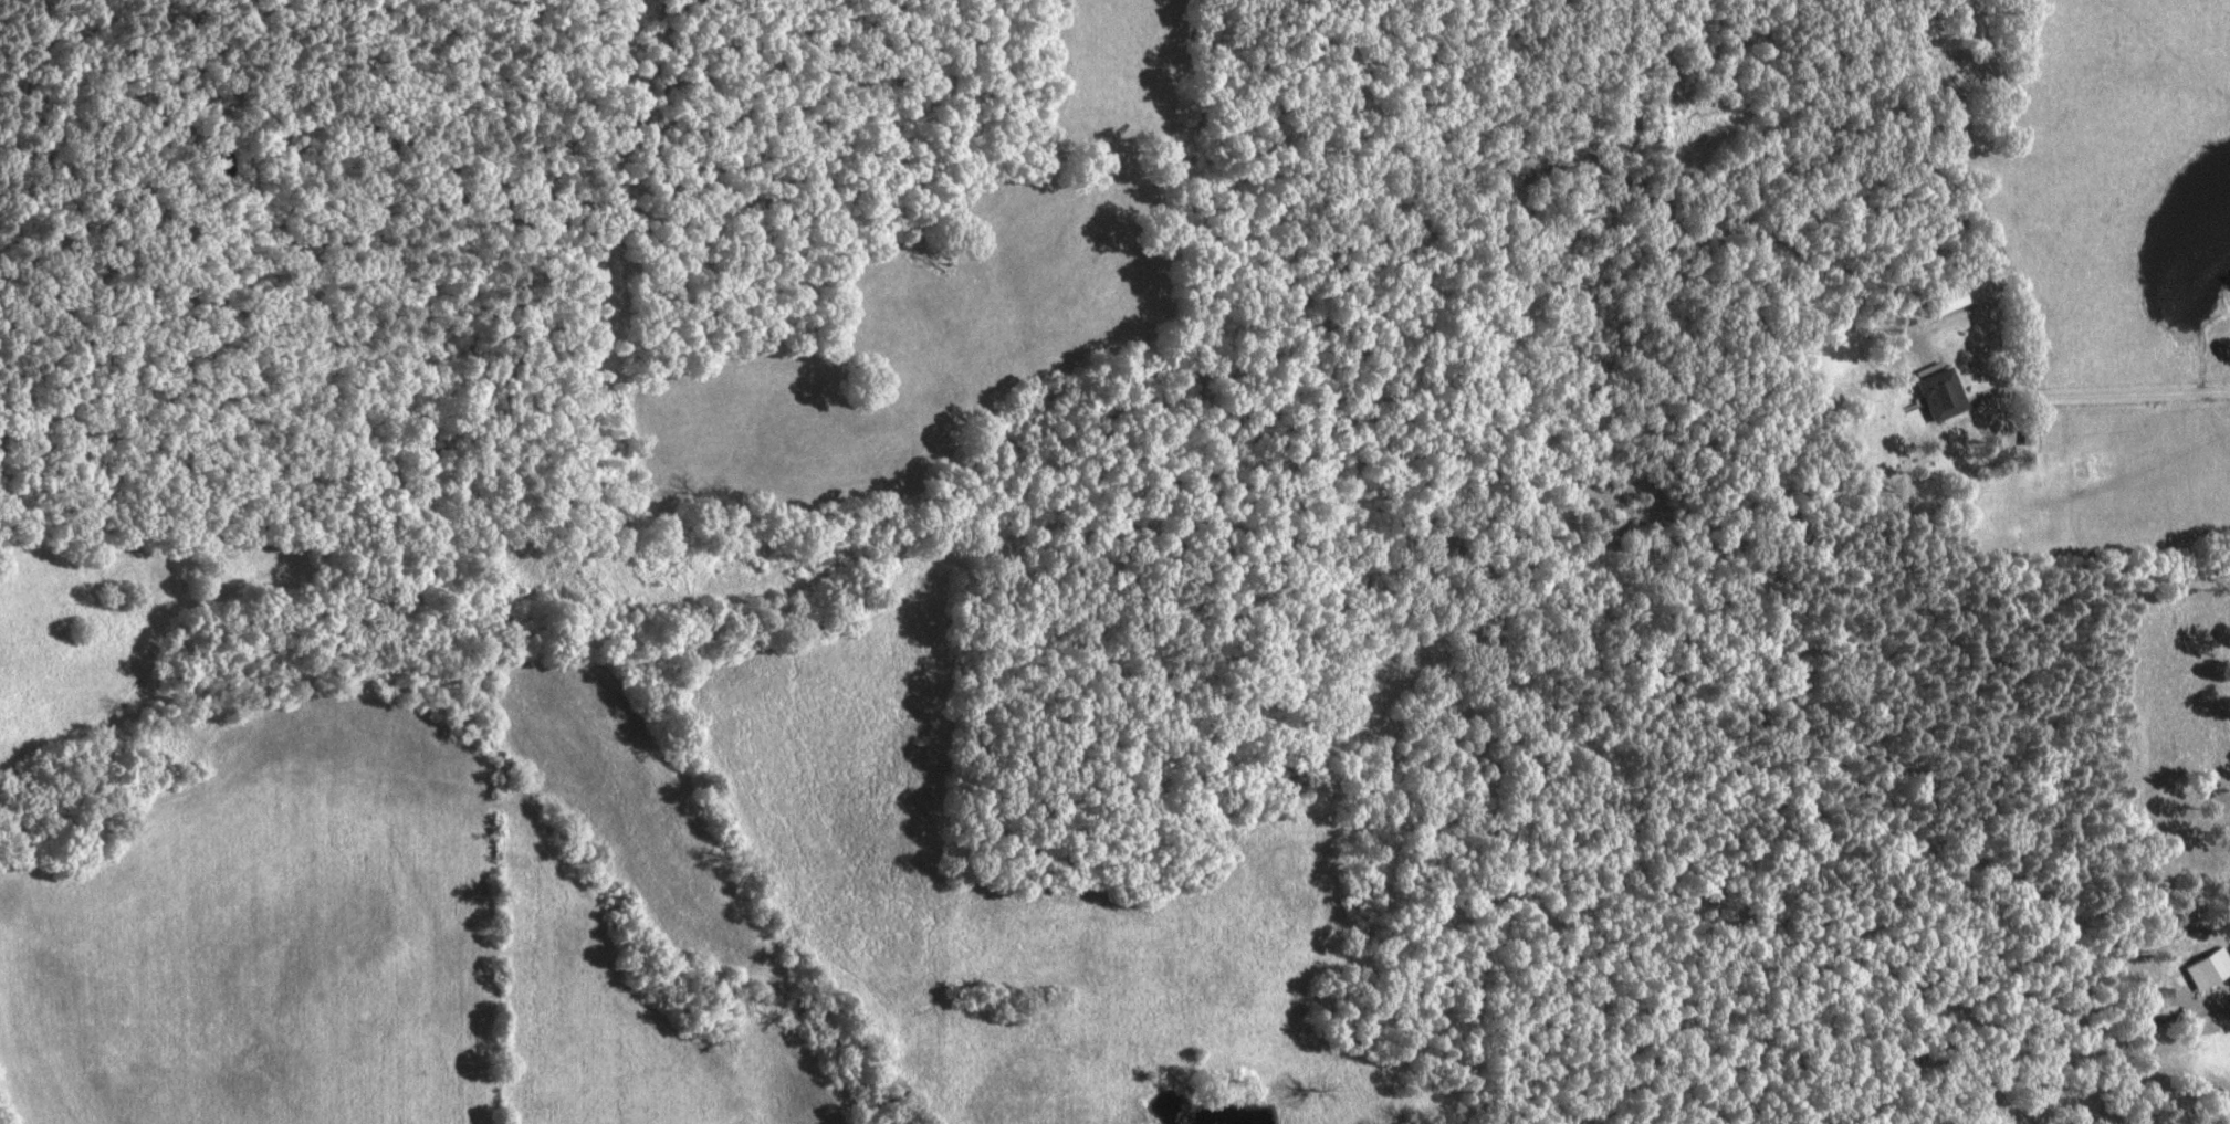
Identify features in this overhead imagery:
building: (1941, 305)
building: (1933, 397)
building: (2203, 973)
building: (2156, 1013)

